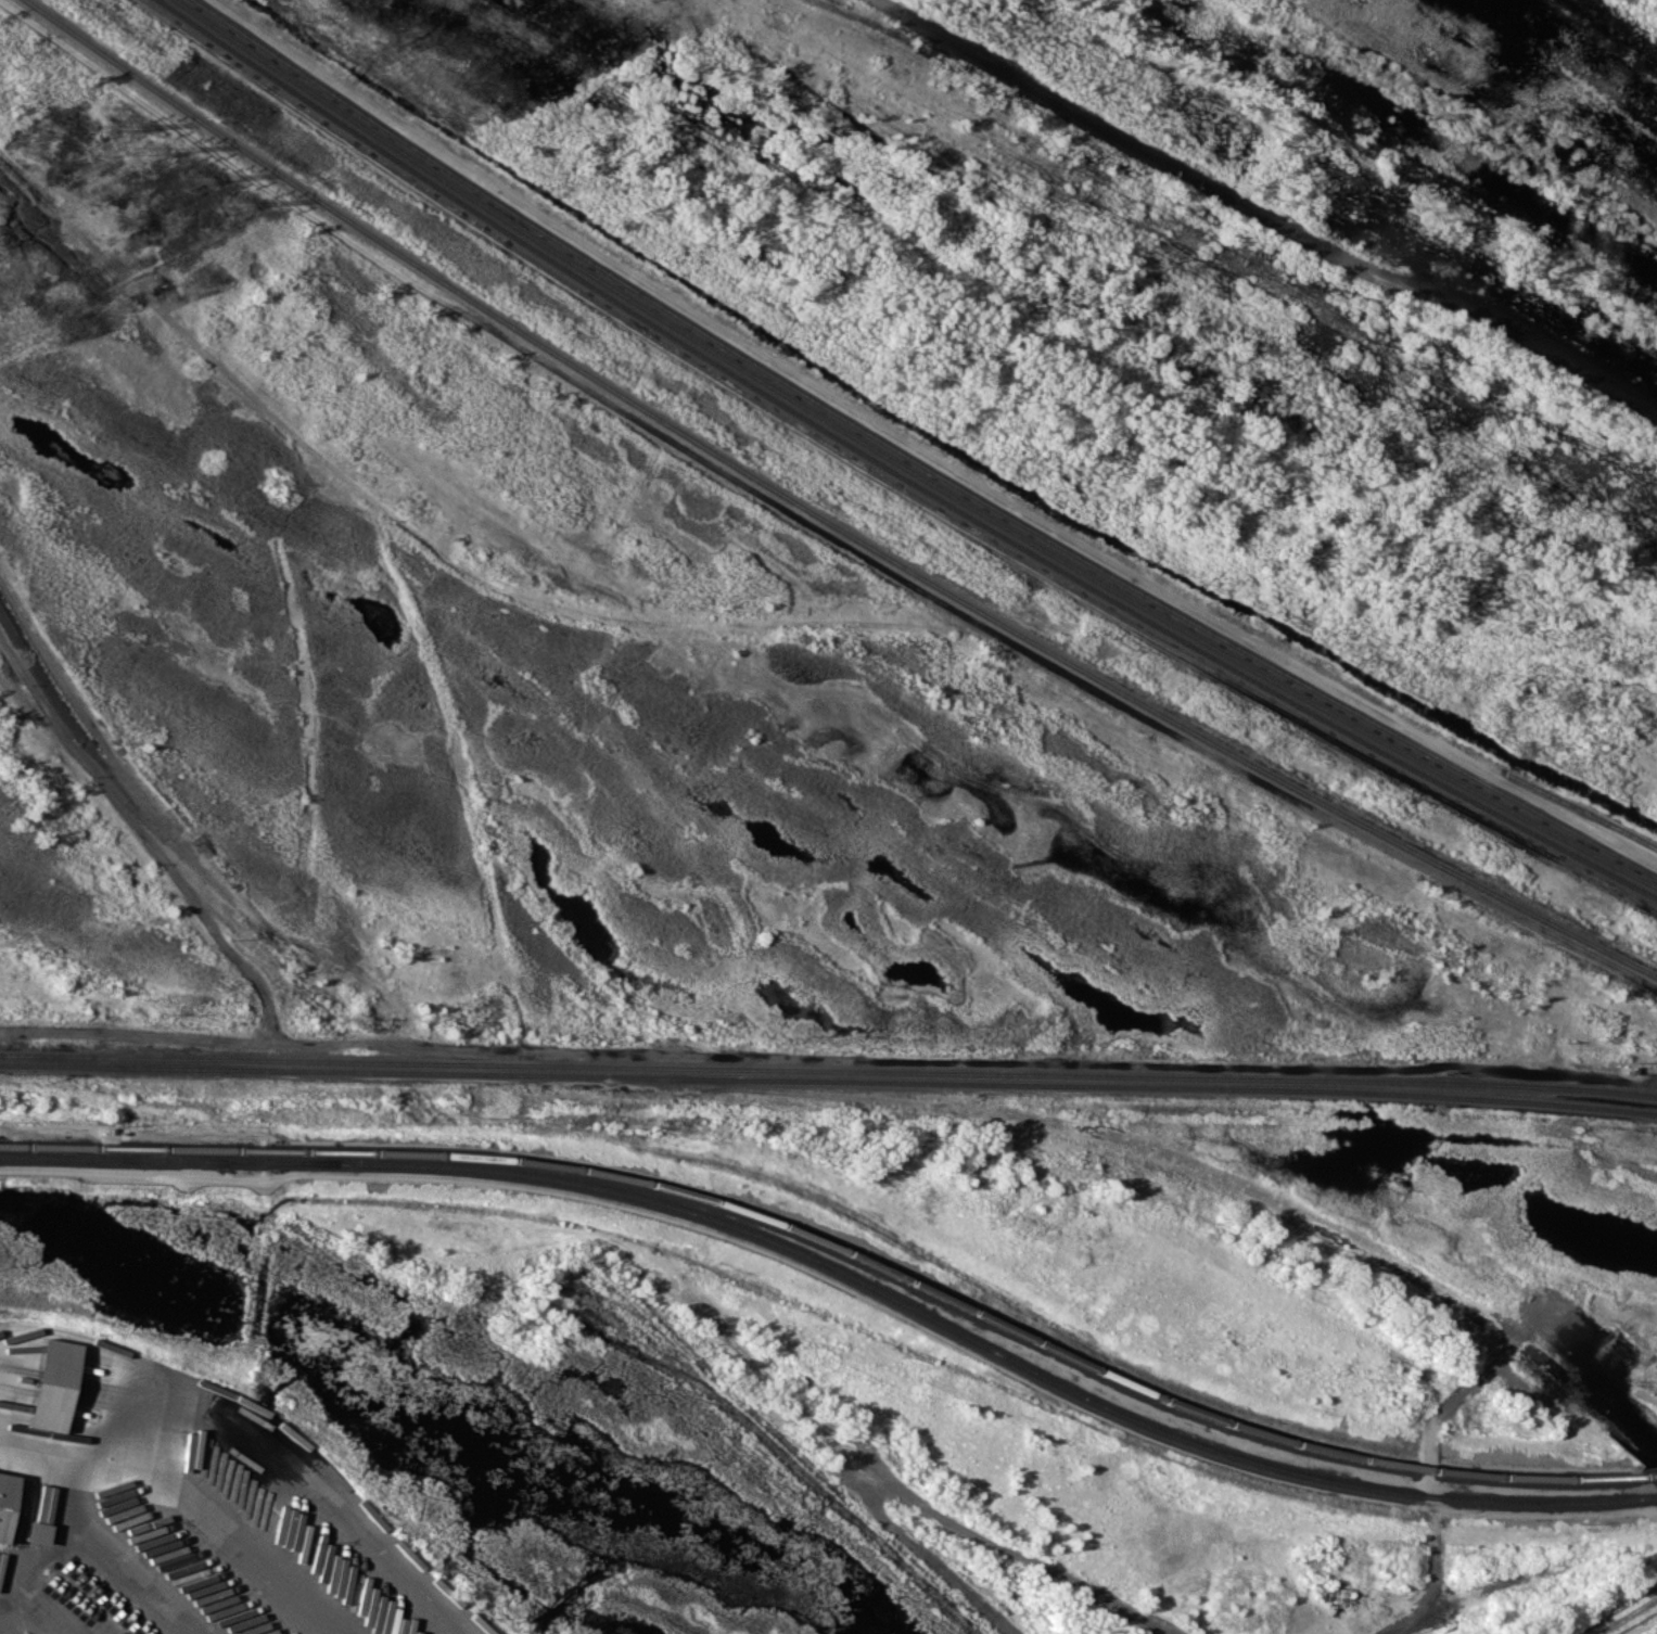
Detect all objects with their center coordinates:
power tower: (109, 127)
power tower: (146, 151)
power tower: (189, 179)
power tower: (230, 203)
railway: (912, 459)
railway: (903, 465)
railway: (894, 472)
railway: (820, 520)
railway: (828, 1070)
railway: (828, 1081)
railway: (218, 1149)
railway: (112, 1153)
railway: (1173, 1165)
railway: (842, 1275)
railway: (894, 1276)
landfill: (1091, 1382)
building: (51, 1383)
railway: (1487, 1476)
railway: (1647, 1476)
building: (4, 1495)
building: (36, 1532)
road: (78, 1534)

